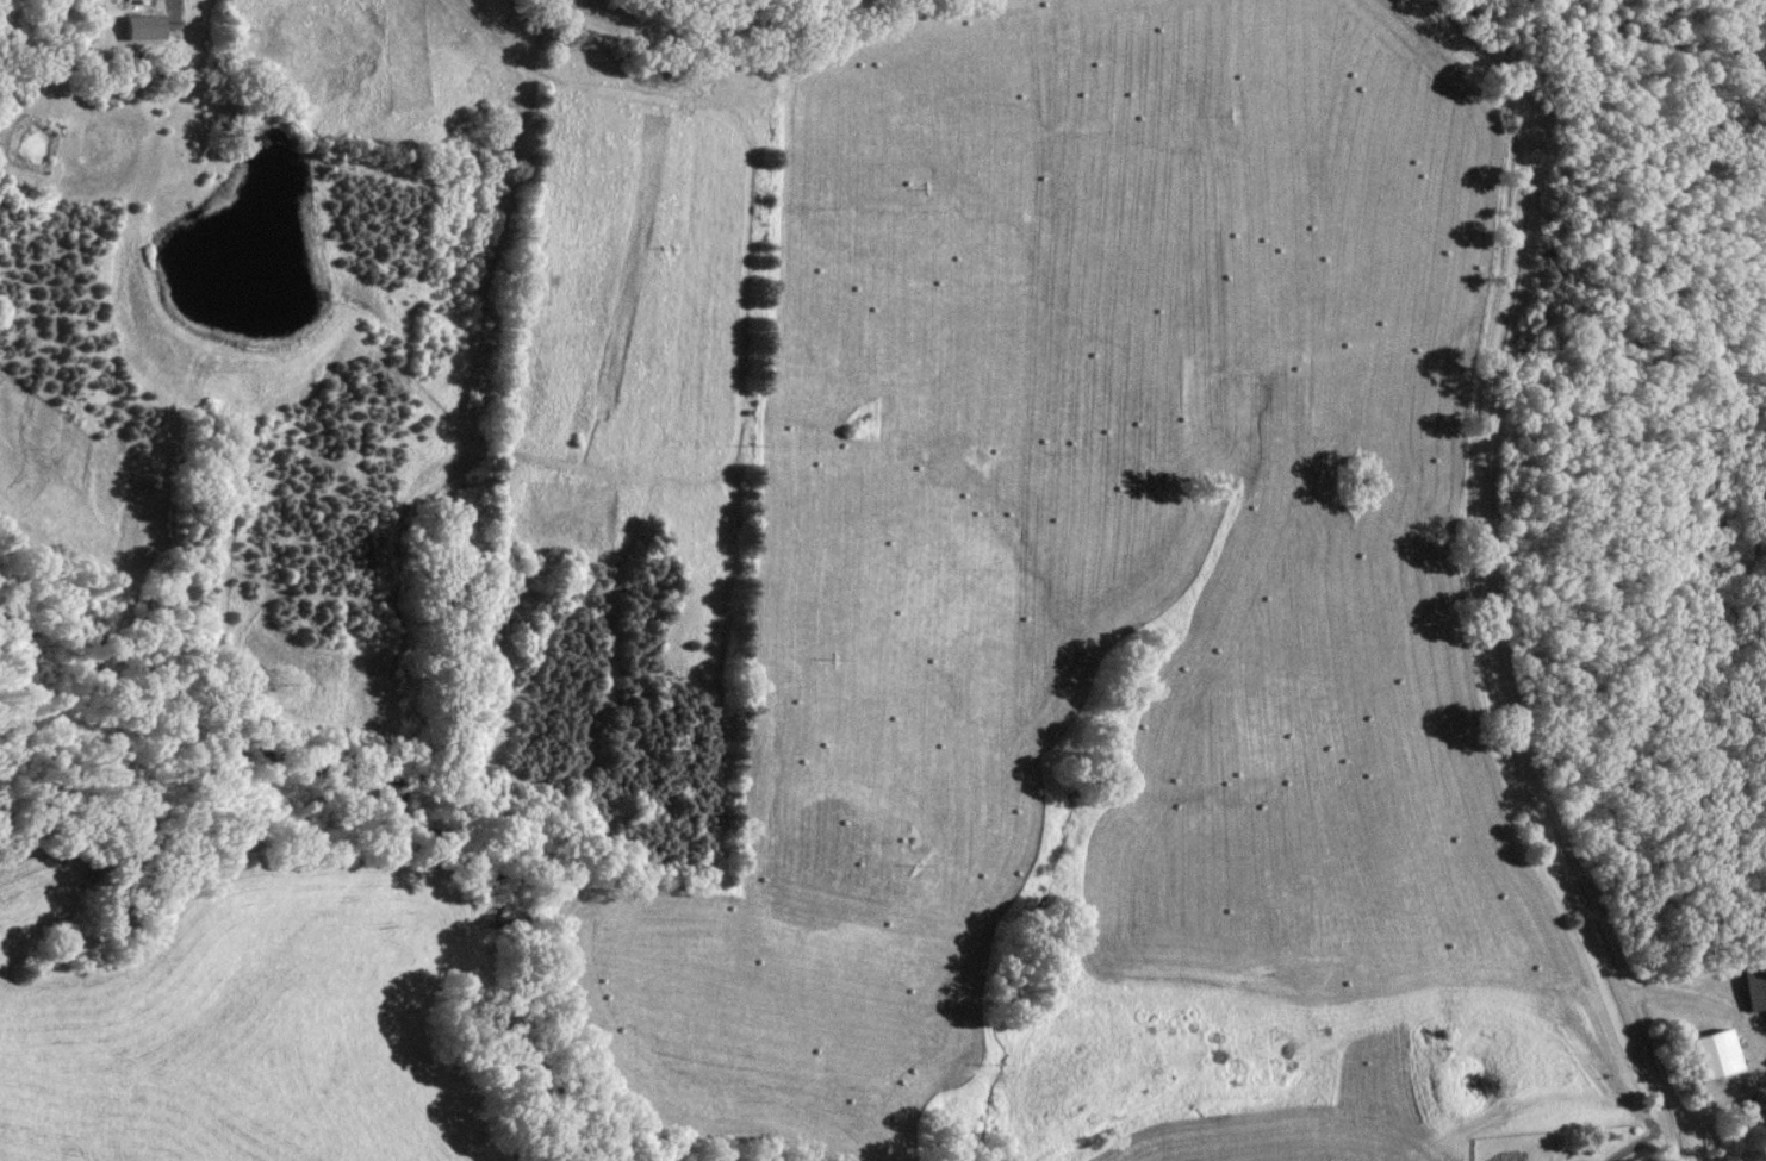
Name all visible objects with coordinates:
building: (143, 27)
road: (714, 40)
road: (1475, 578)
building: (1752, 988)
building: (1711, 1054)
road: (1631, 1141)

